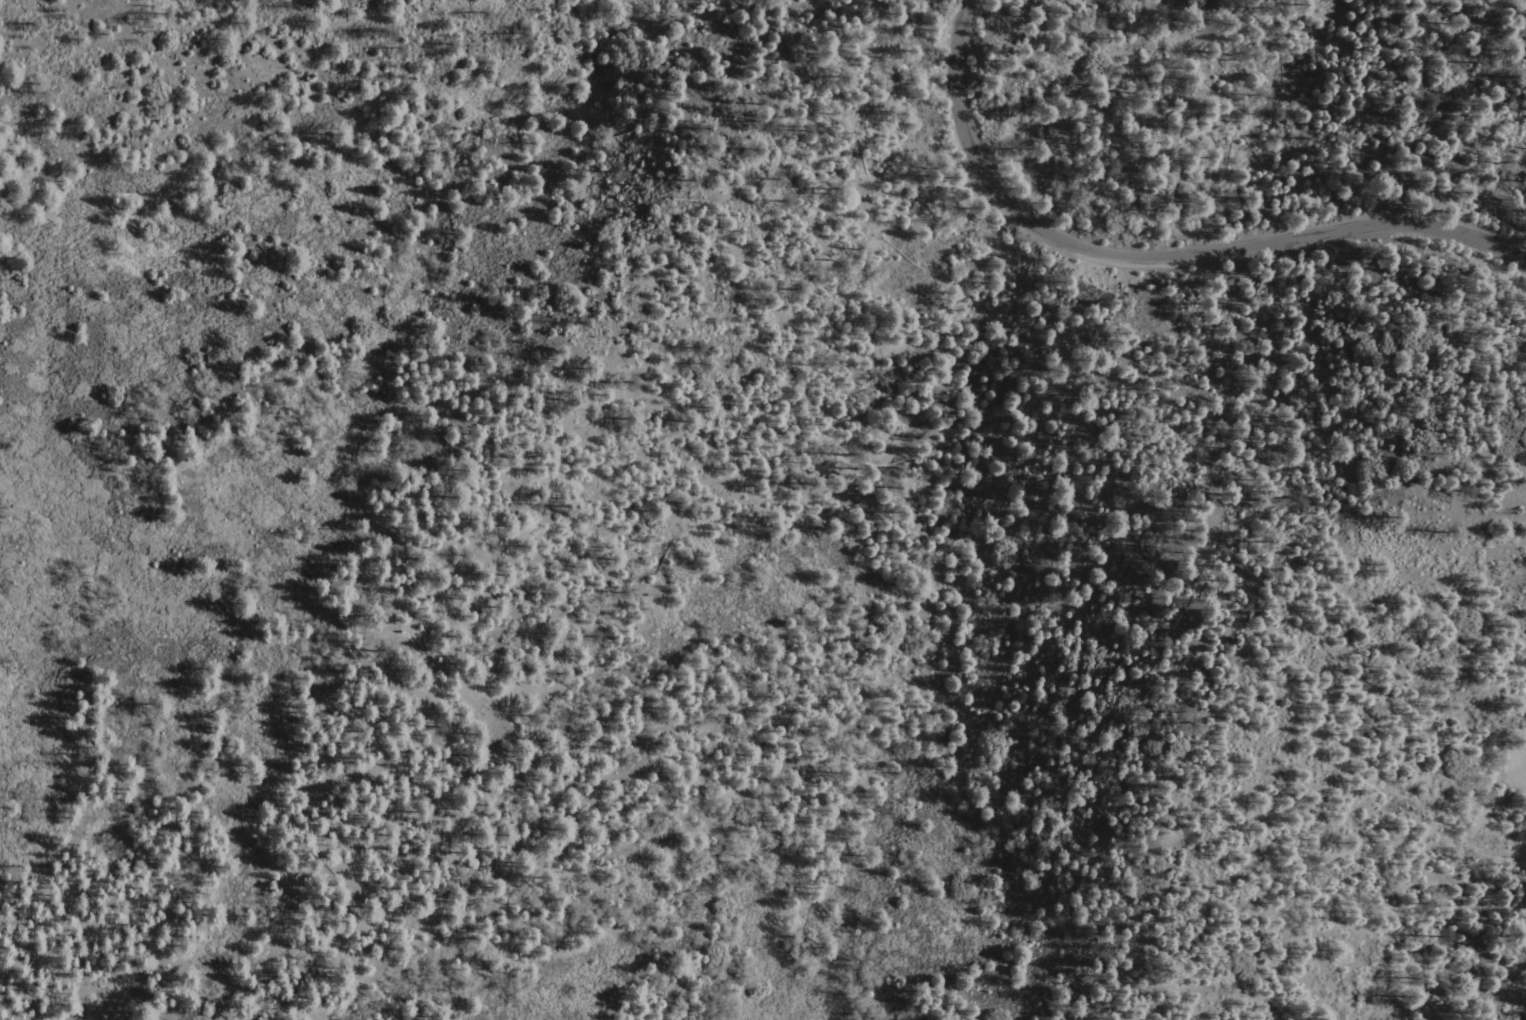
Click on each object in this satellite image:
road: (1156, 258)

